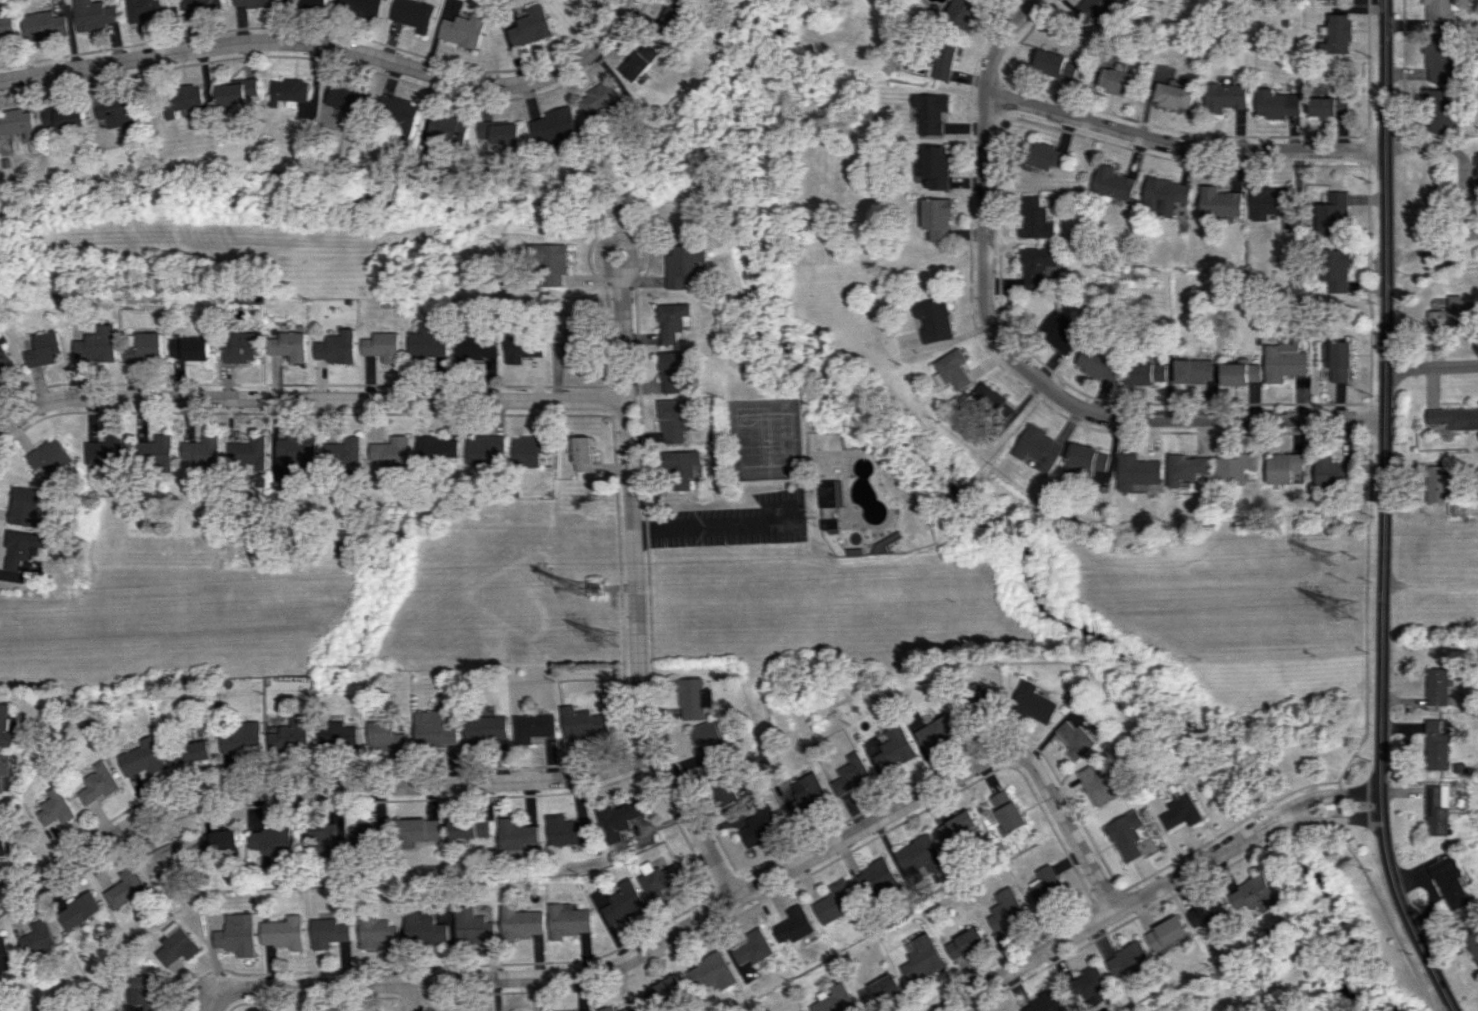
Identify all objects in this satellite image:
building: (198, 3)
building: (250, 3)
building: (305, 3)
building: (357, 7)
building: (1089, 8)
building: (143, 9)
building: (962, 12)
building: (91, 14)
building: (411, 14)
building: (1439, 15)
building: (672, 17)
building: (4, 20)
building: (40, 25)
building: (529, 26)
building: (461, 29)
building: (1336, 33)
road: (1000, 43)
road: (334, 48)
building: (944, 59)
building: (1439, 59)
building: (640, 61)
building: (1055, 63)
building: (1117, 81)
building: (234, 92)
building: (1171, 95)
building: (291, 96)
building: (1224, 97)
building: (598, 98)
building: (180, 99)
building: (344, 99)
building: (1275, 104)
building: (1328, 106)
building: (1440, 109)
building: (117, 111)
building: (397, 113)
building: (932, 113)
building: (62, 117)
building: (17, 122)
building: (553, 128)
building: (499, 132)
road: (1181, 145)
building: (1043, 158)
building: (1477, 160)
building: (936, 167)
building: (1112, 182)
building: (1164, 195)
road: (1466, 196)
building: (1269, 200)
building: (1218, 203)
building: (1333, 214)
building: (937, 217)
building: (1033, 218)
building: (552, 262)
building: (683, 265)
building: (1037, 266)
building: (1338, 271)
building: (1454, 313)
building: (933, 319)
building: (674, 321)
building: (1058, 332)
building: (428, 342)
building: (577, 344)
building: (97, 346)
building: (145, 346)
building: (290, 346)
building: (384, 346)
building: (478, 346)
building: (242, 347)
building: (337, 347)
building: (524, 347)
building: (191, 348)
building: (45, 349)
building: (6, 360)
building: (1337, 360)
building: (1284, 361)
building: (1094, 364)
road: (1428, 367)
building: (951, 369)
building: (675, 370)
building: (1191, 370)
building: (1143, 373)
building: (1238, 373)
road: (311, 398)
road: (1056, 399)
building: (990, 400)
building: (1454, 417)
building: (674, 422)
building: (485, 448)
building: (1037, 448)
building: (296, 449)
building: (438, 449)
building: (344, 450)
building: (530, 450)
building: (154, 451)
building: (199, 451)
building: (392, 451)
building: (248, 453)
building: (102, 454)
building: (581, 454)
building: (48, 455)
building: (1084, 460)
building: (682, 466)
building: (1233, 467)
building: (1282, 467)
building: (1183, 468)
building: (1331, 471)
building: (1135, 472)
building: (1437, 485)
building: (831, 493)
building: (23, 506)
road: (1384, 512)
building: (829, 524)
road: (715, 526)
road: (633, 541)
building: (23, 547)
power tower: (1333, 562)
power tower: (601, 596)
power tower: (1349, 608)
power tower: (611, 639)
building: (1437, 687)
building: (692, 698)
building: (984, 699)
building: (1036, 703)
building: (582, 723)
building: (5, 726)
building: (532, 727)
building: (485, 729)
building: (433, 730)
building: (937, 731)
building: (291, 735)
building: (337, 735)
building: (242, 737)
building: (385, 737)
building: (1077, 740)
building: (707, 741)
building: (1435, 746)
building: (893, 749)
building: (192, 752)
building: (141, 757)
building: (4, 773)
building: (849, 774)
building: (97, 783)
building: (1098, 785)
road: (312, 789)
building: (726, 793)
building: (806, 795)
building: (52, 806)
building: (1436, 809)
building: (1007, 811)
building: (1182, 812)
building: (616, 819)
building: (760, 824)
building: (956, 826)
building: (468, 828)
building: (565, 830)
building: (416, 831)
building: (369, 834)
building: (515, 835)
building: (1126, 835)
building: (319, 837)
building: (220, 842)
building: (272, 842)
building: (920, 855)
building: (169, 859)
building: (875, 878)
building: (657, 879)
building: (1450, 881)
building: (1046, 884)
building: (126, 888)
road: (1155, 892)
building: (1254, 895)
building: (836, 901)
building: (623, 902)
road: (714, 908)
building: (81, 910)
building: (1007, 911)
building: (1209, 914)
building: (567, 920)
building: (520, 922)
building: (793, 925)
building: (471, 926)
building: (423, 928)
building: (377, 931)
building: (284, 932)
building: (329, 932)
building: (1166, 932)
building: (238, 934)
building: (39, 938)
building: (965, 942)
building: (1473, 942)
building: (175, 944)
building: (753, 949)
building: (5, 955)
building: (922, 959)
building: (1129, 960)
building: (712, 971)
road: (209, 982)
building: (1089, 985)
building: (664, 991)
building: (880, 991)
road: (417, 996)
building: (834, 999)
building: (1045, 1002)
building: (608, 1006)
building: (572, 1010)
building: (803, 1010)

